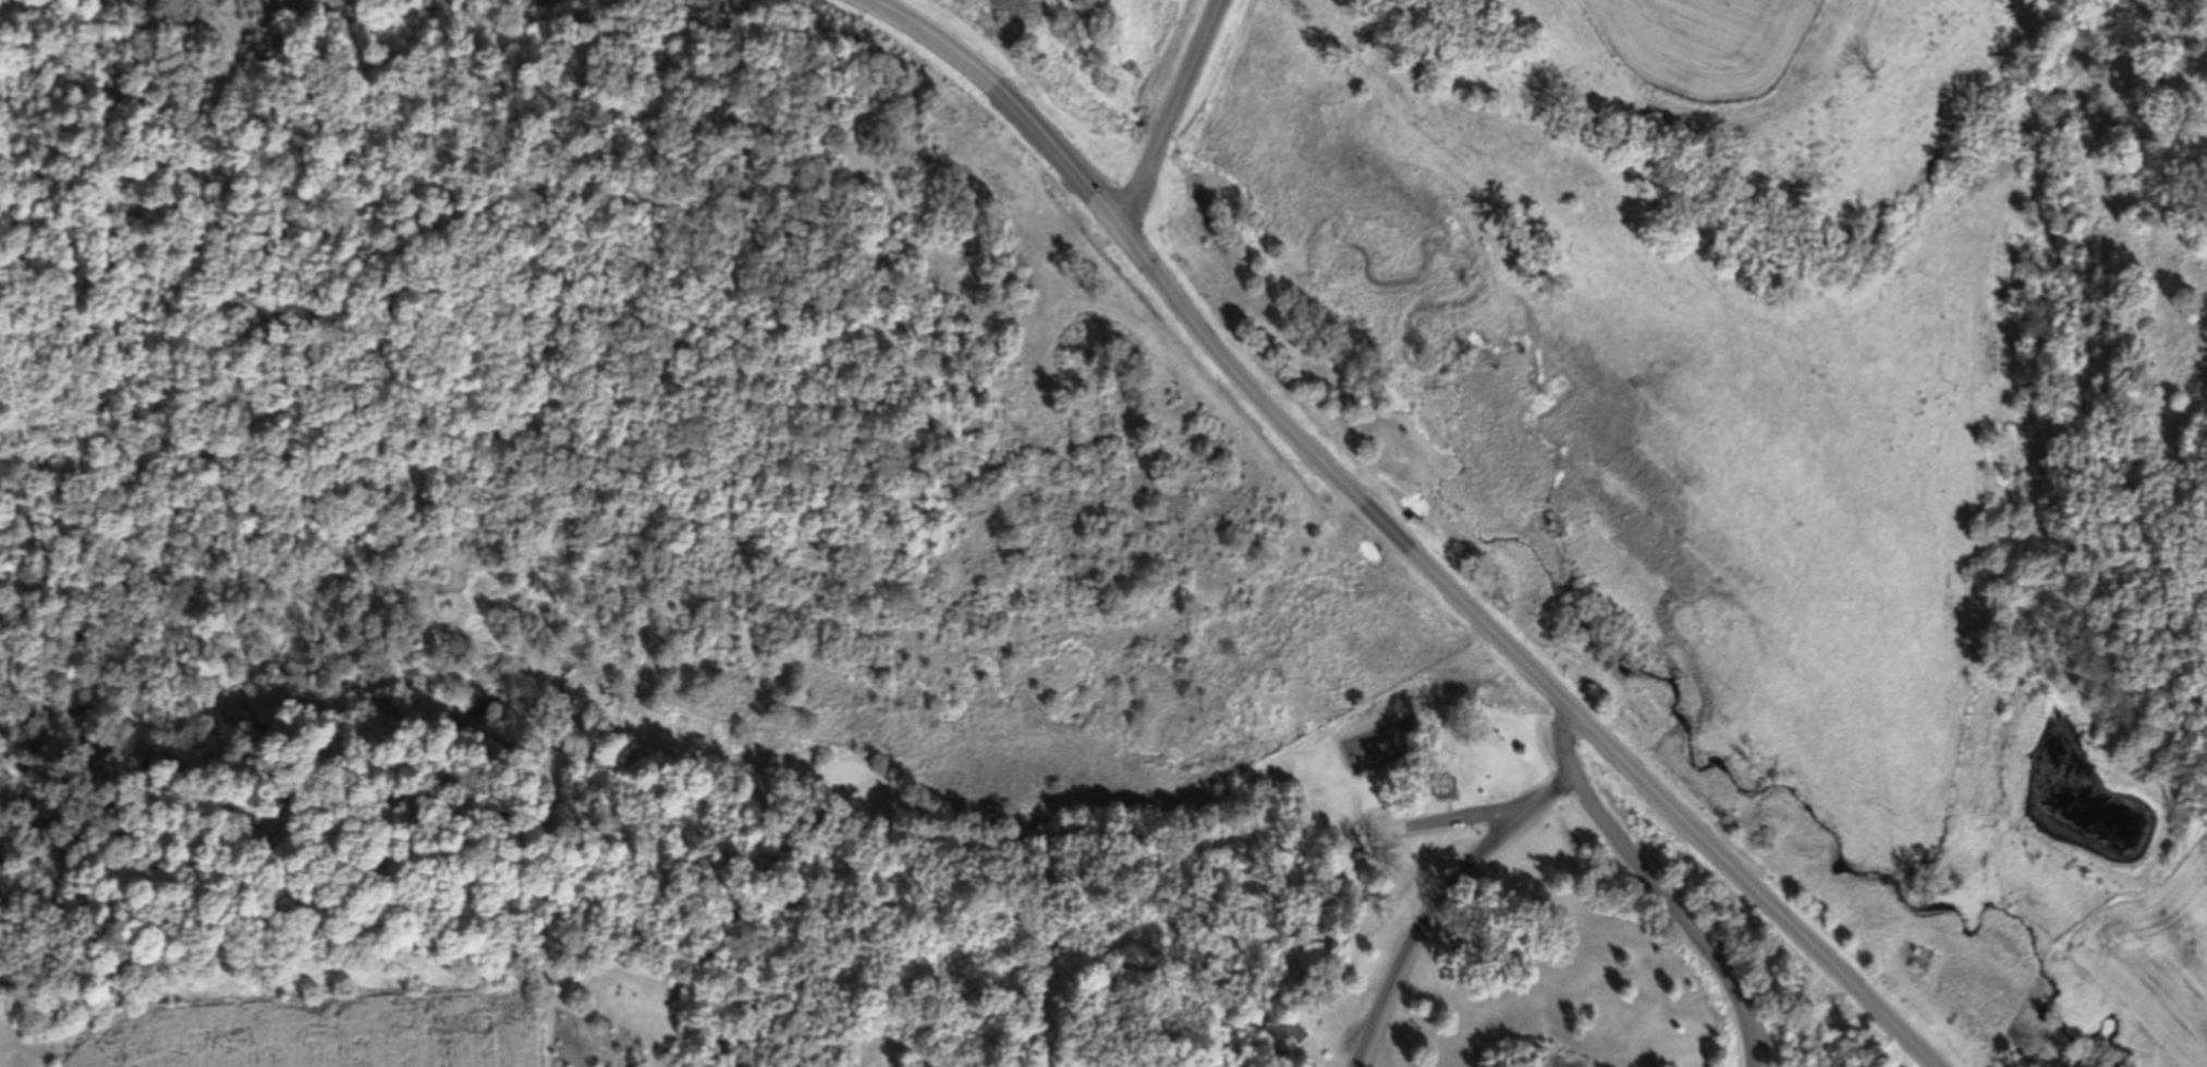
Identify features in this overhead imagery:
road: (1013, 99)
road: (1171, 113)
road: (1254, 393)
building: (1444, 788)
road: (1671, 806)
road: (1436, 822)
road: (1121, 836)
road: (1660, 888)
road: (1441, 902)
building: (1295, 1033)
road: (657, 1048)

